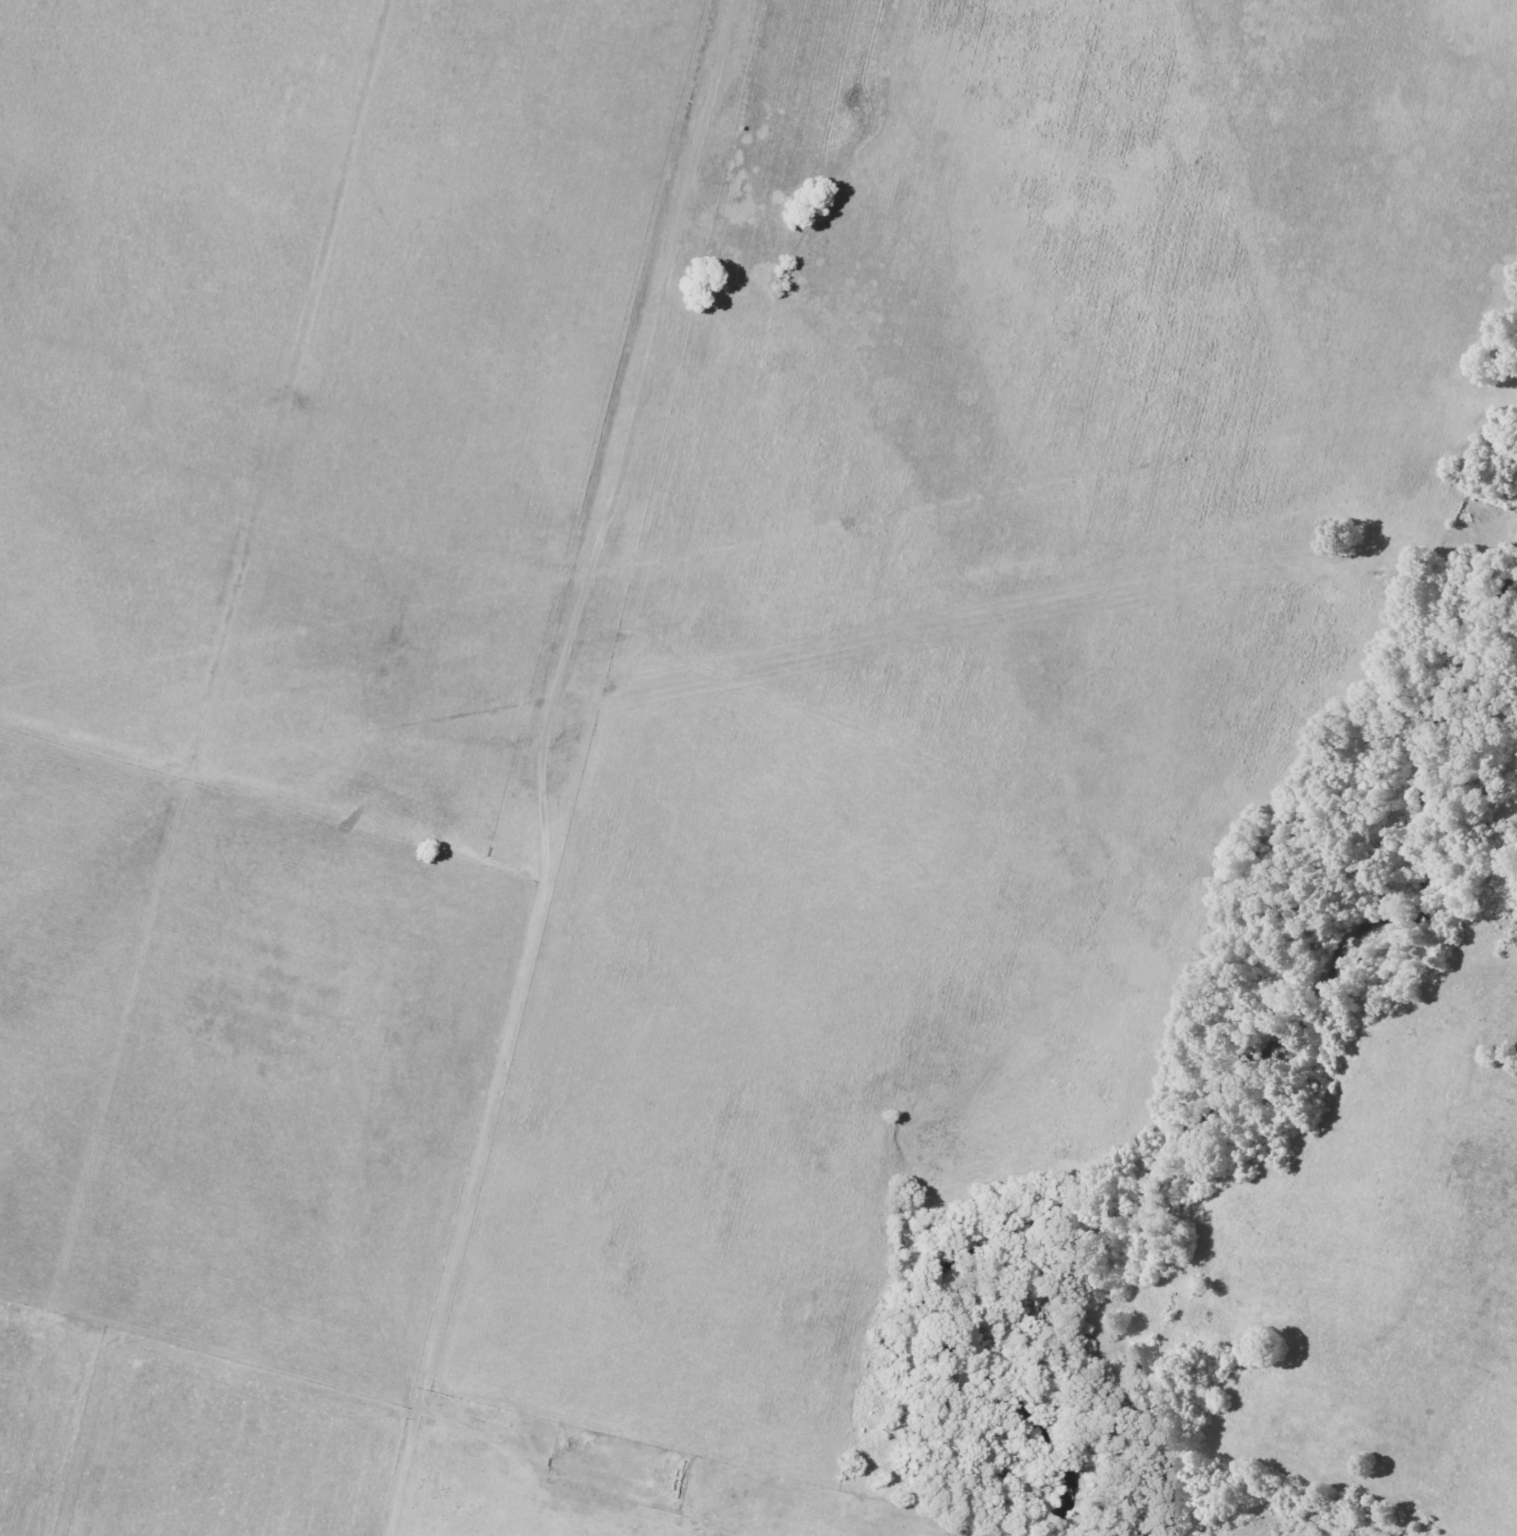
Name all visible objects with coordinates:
road: (1292, 56)

